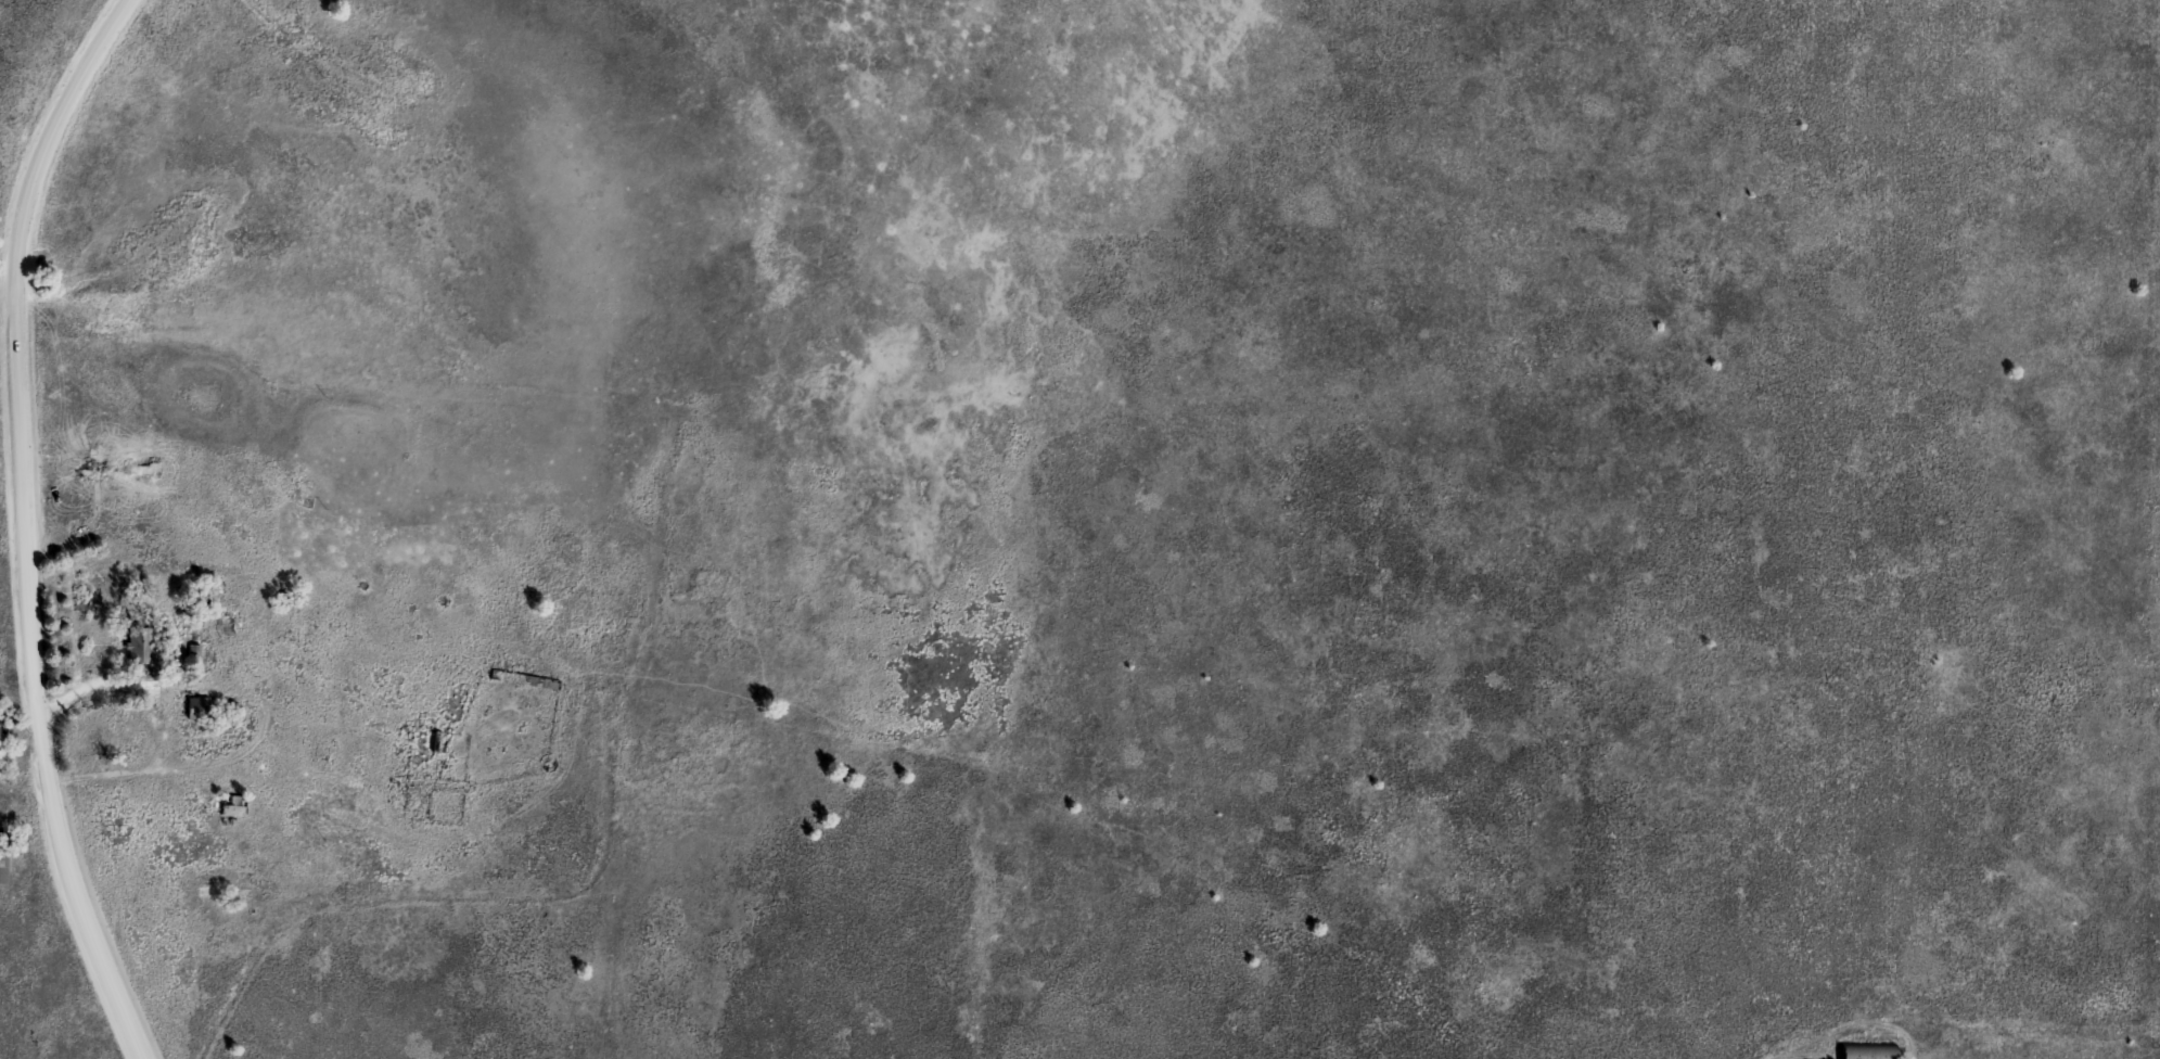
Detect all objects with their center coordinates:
road: (93, 525)
building: (548, 684)
building: (3, 748)
building: (3, 881)
building: (1862, 1051)

